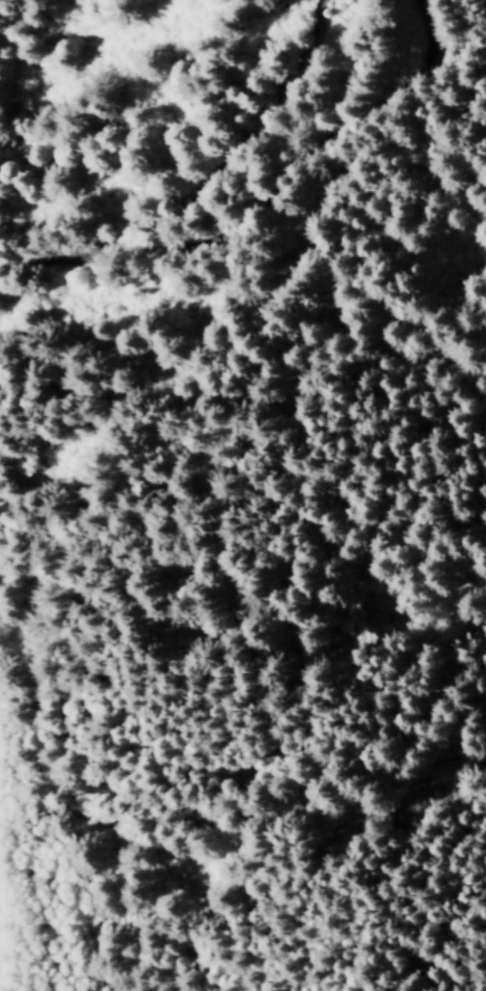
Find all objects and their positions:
road: (220, 196)

